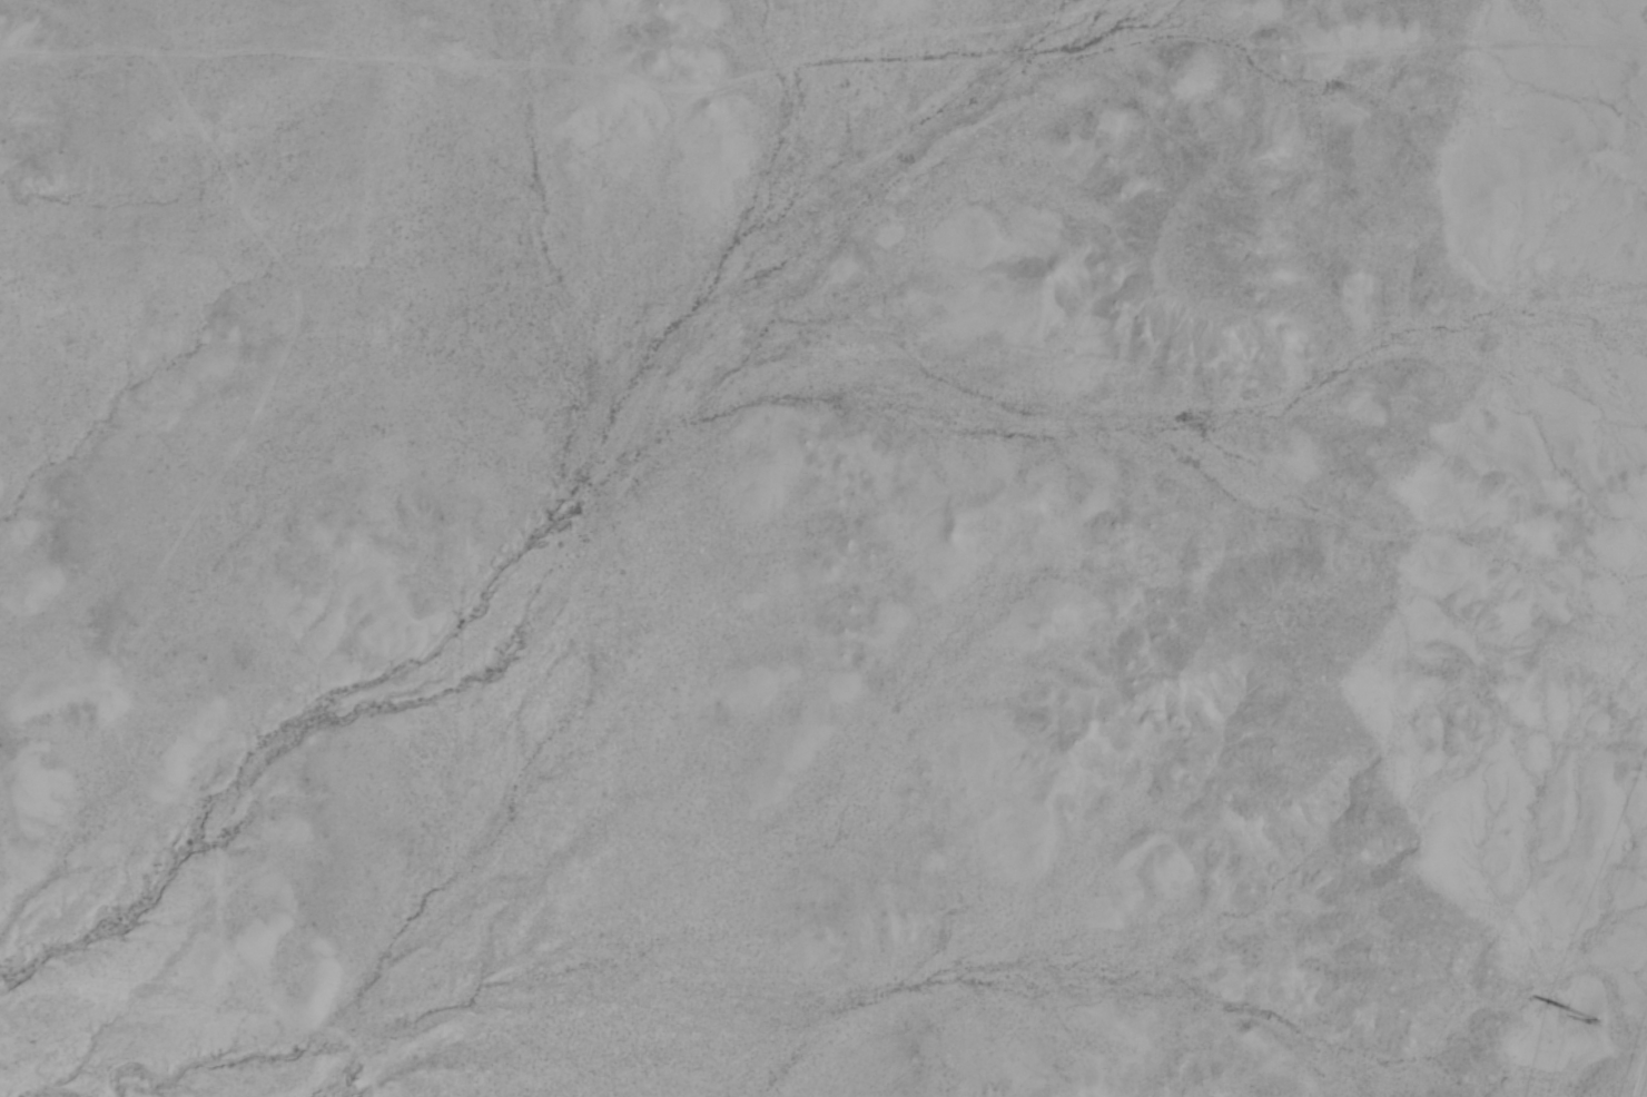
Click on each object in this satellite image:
power tower: (1599, 1017)

